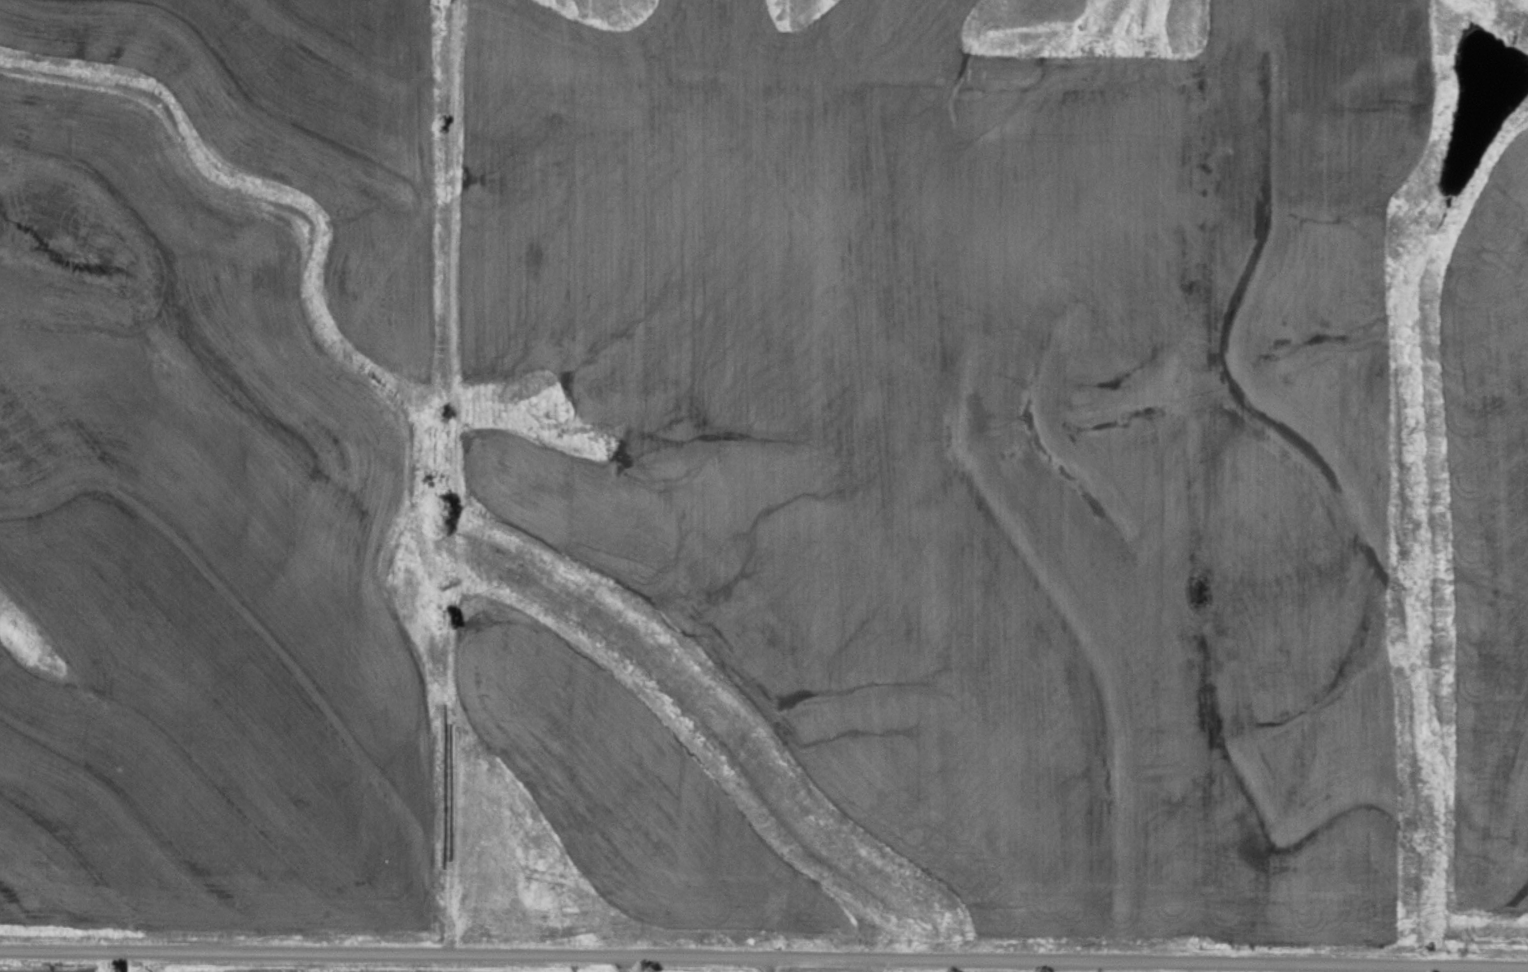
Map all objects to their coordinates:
road: (764, 958)
road: (758, 965)

